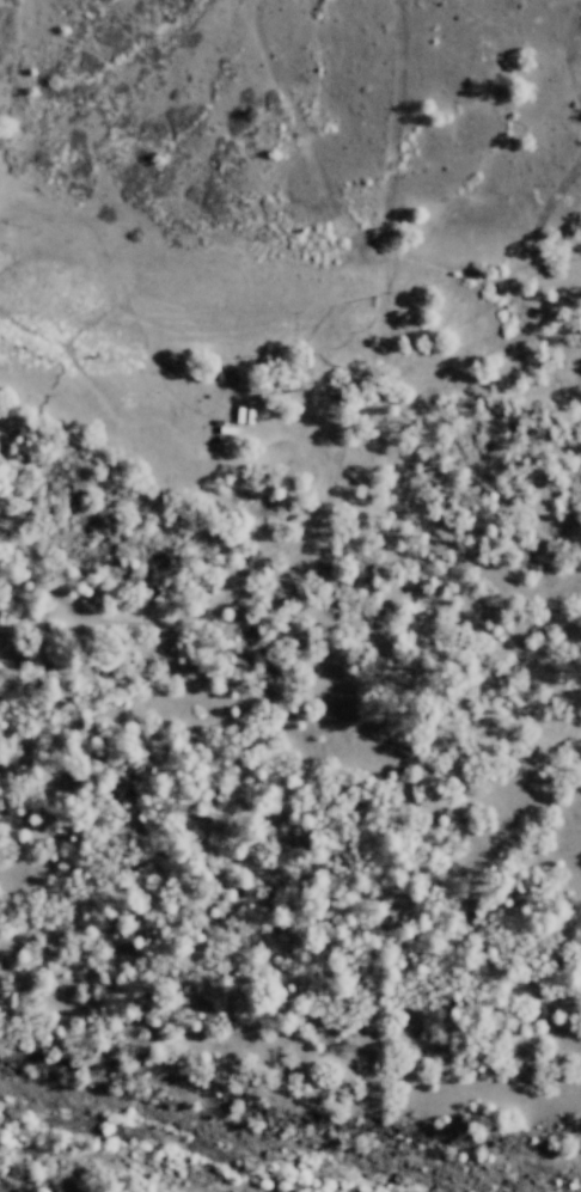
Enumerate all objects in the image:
road: (390, 147)
road: (338, 430)
river: (218, 1157)

